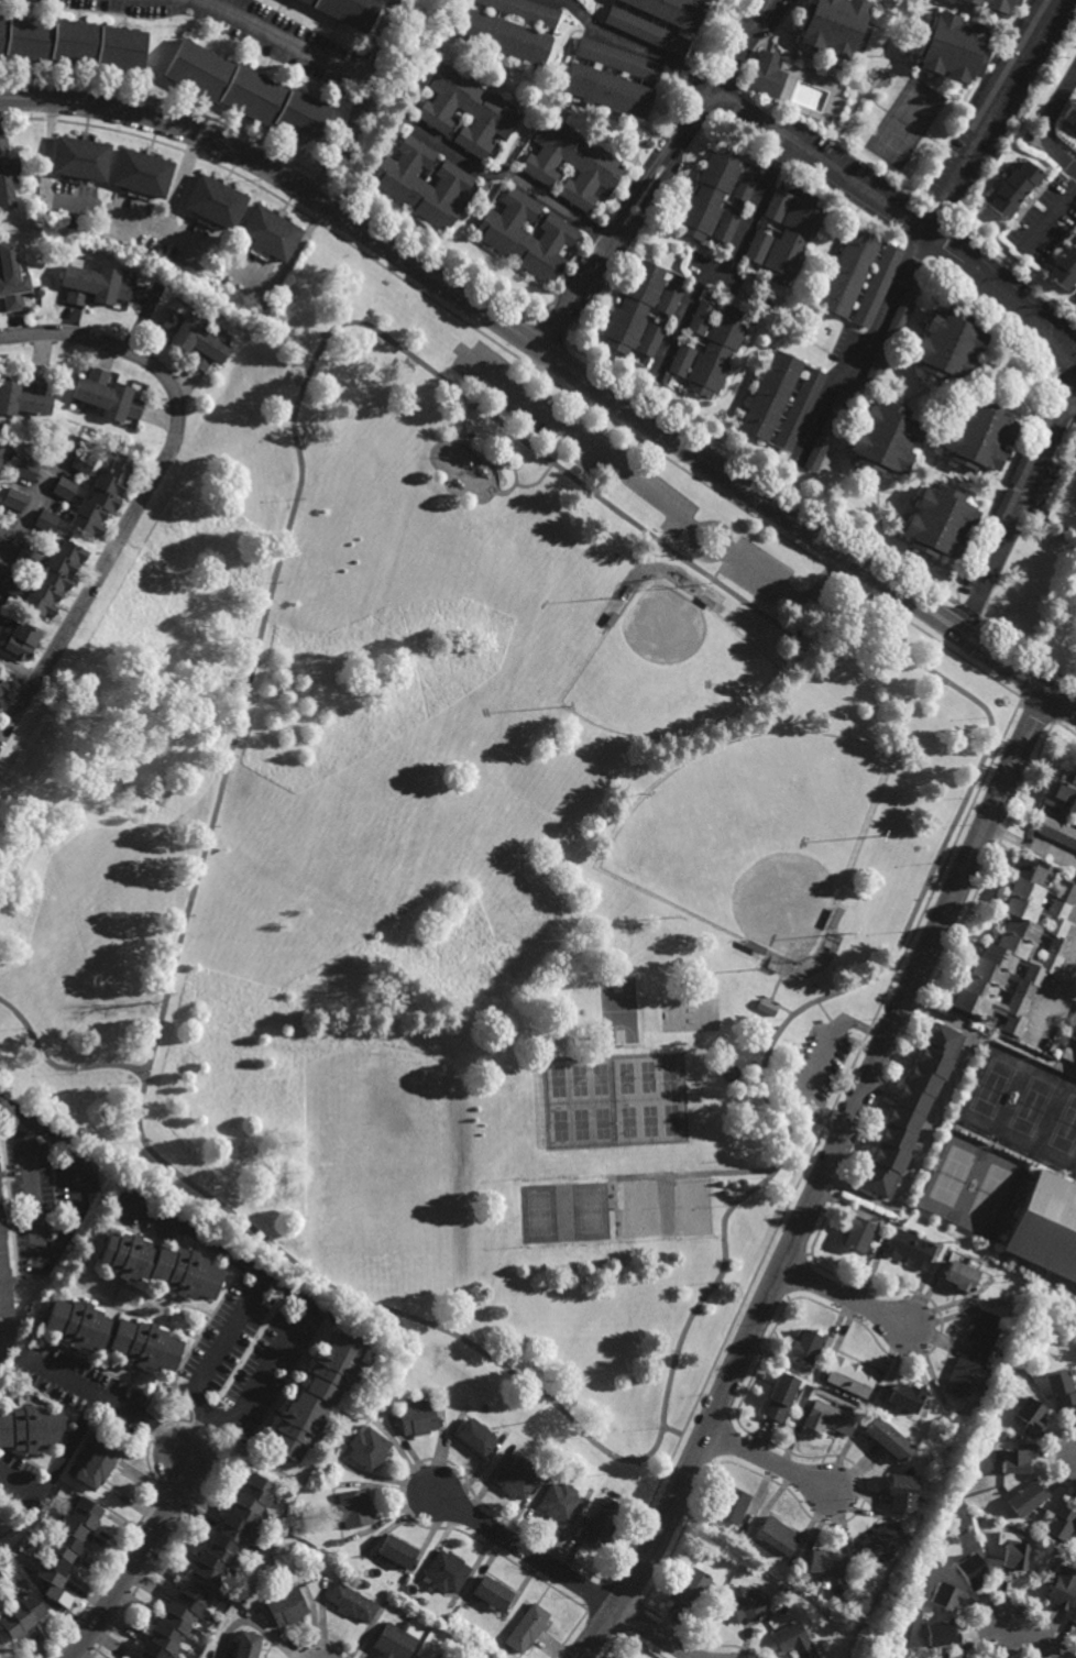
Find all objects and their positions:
building: (991, 4)
building: (349, 10)
building: (525, 11)
building: (670, 11)
building: (833, 26)
building: (646, 31)
building: (504, 36)
road: (286, 37)
road: (383, 39)
building: (72, 43)
road: (637, 45)
building: (949, 48)
building: (1069, 52)
building: (618, 59)
building: (767, 74)
road: (720, 77)
building: (607, 90)
building: (246, 92)
building: (468, 110)
building: (1070, 113)
road: (1048, 124)
road: (345, 139)
building: (80, 160)
road: (817, 160)
building: (571, 163)
building: (7, 173)
building: (141, 173)
road: (514, 175)
building: (422, 183)
building: (745, 185)
building: (1014, 188)
road: (637, 191)
building: (709, 194)
road: (650, 198)
building: (213, 202)
building: (776, 204)
road: (175, 205)
road: (1050, 217)
building: (725, 226)
building: (270, 231)
building: (526, 234)
building: (792, 237)
building: (757, 245)
road: (727, 262)
building: (1064, 265)
building: (847, 271)
building: (11, 277)
building: (94, 283)
building: (877, 285)
road: (580, 290)
building: (669, 298)
road: (1010, 300)
building: (633, 307)
building: (701, 317)
building: (891, 333)
building: (196, 339)
building: (650, 339)
road: (869, 343)
building: (946, 343)
building: (717, 350)
road: (557, 358)
building: (681, 360)
road: (530, 371)
road: (454, 385)
building: (24, 395)
building: (107, 395)
building: (769, 395)
building: (799, 409)
building: (826, 429)
building: (976, 435)
building: (882, 437)
road: (575, 438)
building: (1031, 446)
building: (2, 449)
building: (80, 461)
building: (26, 469)
road: (151, 485)
building: (63, 486)
building: (100, 496)
building: (14, 498)
road: (29, 508)
building: (45, 521)
building: (936, 521)
road: (696, 531)
building: (2, 535)
building: (989, 537)
building: (26, 555)
road: (723, 567)
building: (53, 579)
building: (11, 582)
road: (790, 593)
building: (706, 601)
building: (1, 619)
building: (611, 619)
building: (20, 640)
park: (666, 667)
road: (17, 672)
building: (2, 688)
building: (1059, 810)
park: (760, 835)
road: (1032, 846)
park: (474, 863)
building: (837, 911)
building: (747, 942)
building: (1017, 946)
building: (746, 990)
building: (765, 1006)
park: (619, 1010)
road: (826, 1014)
building: (1072, 1028)
road: (738, 1037)
building: (1067, 1053)
road: (820, 1064)
road: (58, 1067)
building: (728, 1072)
park: (647, 1075)
park: (668, 1075)
park: (625, 1077)
park: (599, 1078)
park: (579, 1079)
park: (557, 1080)
building: (908, 1108)
road: (13, 1111)
park: (670, 1119)
park: (649, 1120)
park: (627, 1121)
park: (602, 1122)
park: (580, 1123)
park: (559, 1124)
building: (2, 1173)
road: (694, 1173)
road: (823, 1179)
road: (666, 1205)
park: (691, 1205)
park: (640, 1209)
park: (590, 1210)
park: (538, 1212)
building: (1046, 1225)
building: (856, 1232)
road: (54, 1247)
building: (909, 1248)
building: (156, 1265)
building: (958, 1274)
building: (3, 1275)
road: (588, 1289)
road: (284, 1293)
road: (845, 1297)
road: (634, 1310)
road: (689, 1325)
building: (981, 1331)
building: (111, 1336)
building: (804, 1346)
road: (212, 1364)
building: (849, 1376)
building: (959, 1377)
building: (1061, 1390)
building: (780, 1395)
building: (901, 1397)
building: (316, 1398)
road: (106, 1404)
building: (417, 1416)
building: (1030, 1416)
building: (828, 1417)
building: (30, 1431)
road: (684, 1435)
building: (475, 1436)
building: (887, 1439)
building: (367, 1449)
road: (621, 1457)
building: (1013, 1458)
road: (771, 1461)
road: (56, 1464)
building: (96, 1467)
building: (515, 1476)
building: (901, 1493)
building: (1025, 1498)
building: (558, 1501)
building: (729, 1505)
building: (353, 1509)
building: (602, 1522)
building: (1061, 1522)
building: (233, 1531)
building: (777, 1536)
building: (339, 1542)
building: (876, 1542)
road: (526, 1551)
building: (65, 1552)
building: (397, 1552)
building: (1012, 1557)
road: (138, 1559)
building: (823, 1564)
building: (447, 1572)
building: (969, 1572)
building: (364, 1584)
building: (691, 1588)
building: (1063, 1589)
building: (490, 1593)
building: (945, 1597)
building: (351, 1603)
building: (744, 1605)
building: (783, 1605)
building: (286, 1607)
building: (1073, 1616)
building: (21, 1617)
building: (174, 1623)
building: (525, 1627)
road: (656, 1632)
building: (940, 1635)
building: (793, 1640)
building: (395, 1641)
road: (1039, 1641)
building: (246, 1646)
building: (952, 1655)
building: (420, 1657)

